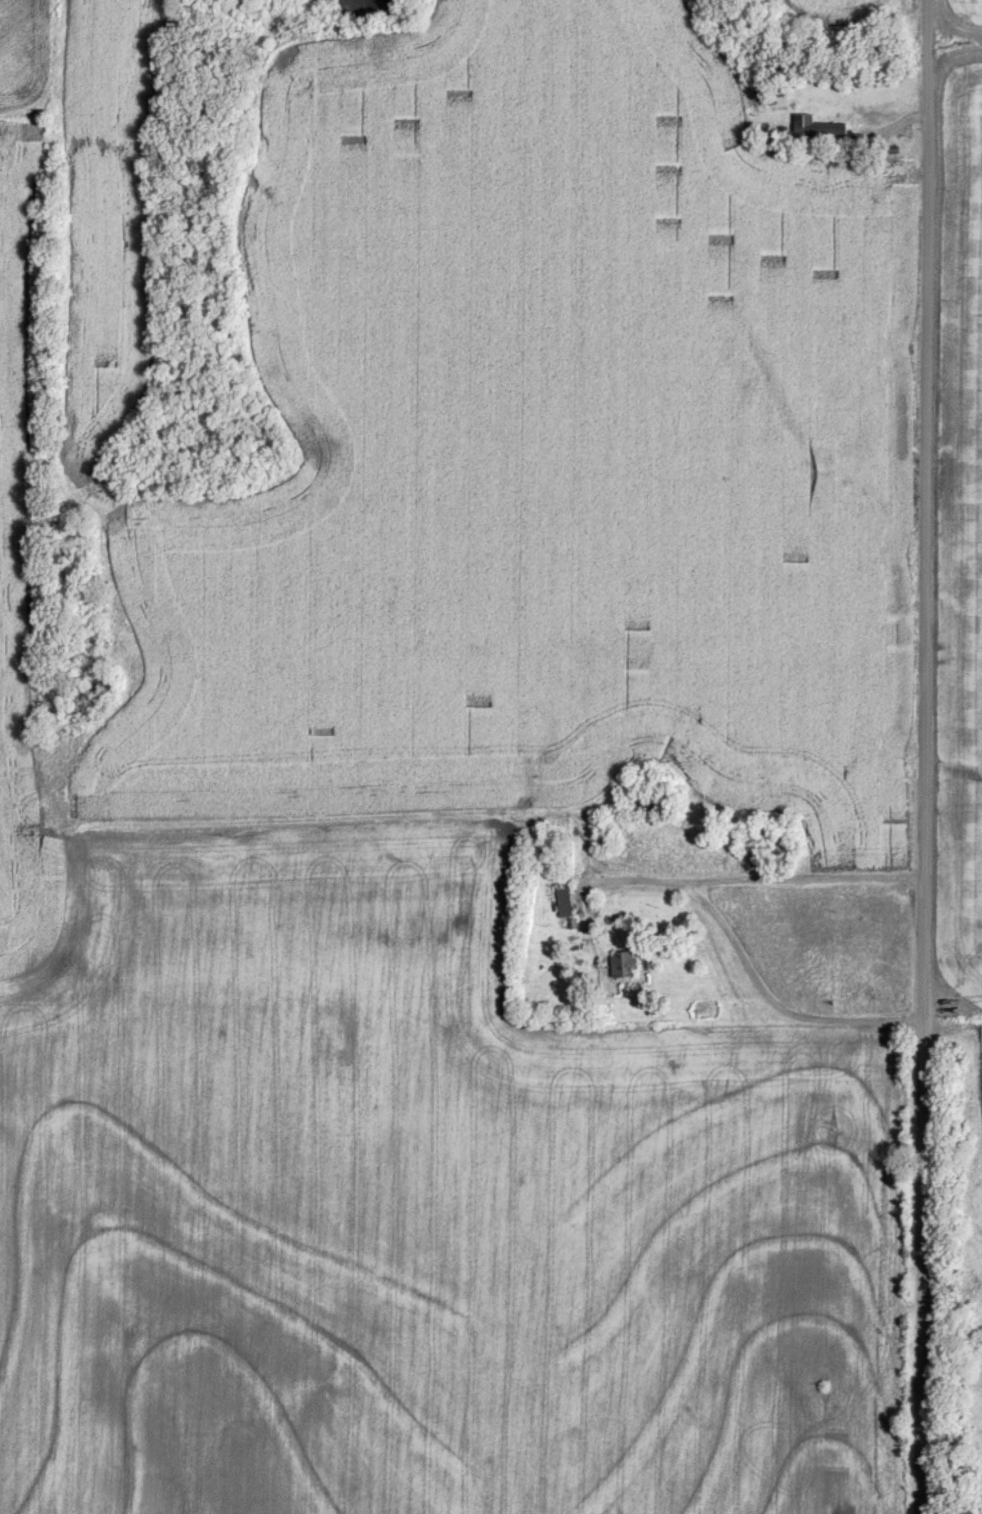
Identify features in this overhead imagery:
building: (819, 127)
road: (876, 130)
road: (925, 757)
building: (644, 804)
building: (759, 836)
building: (564, 899)
road: (714, 913)
building: (622, 964)

